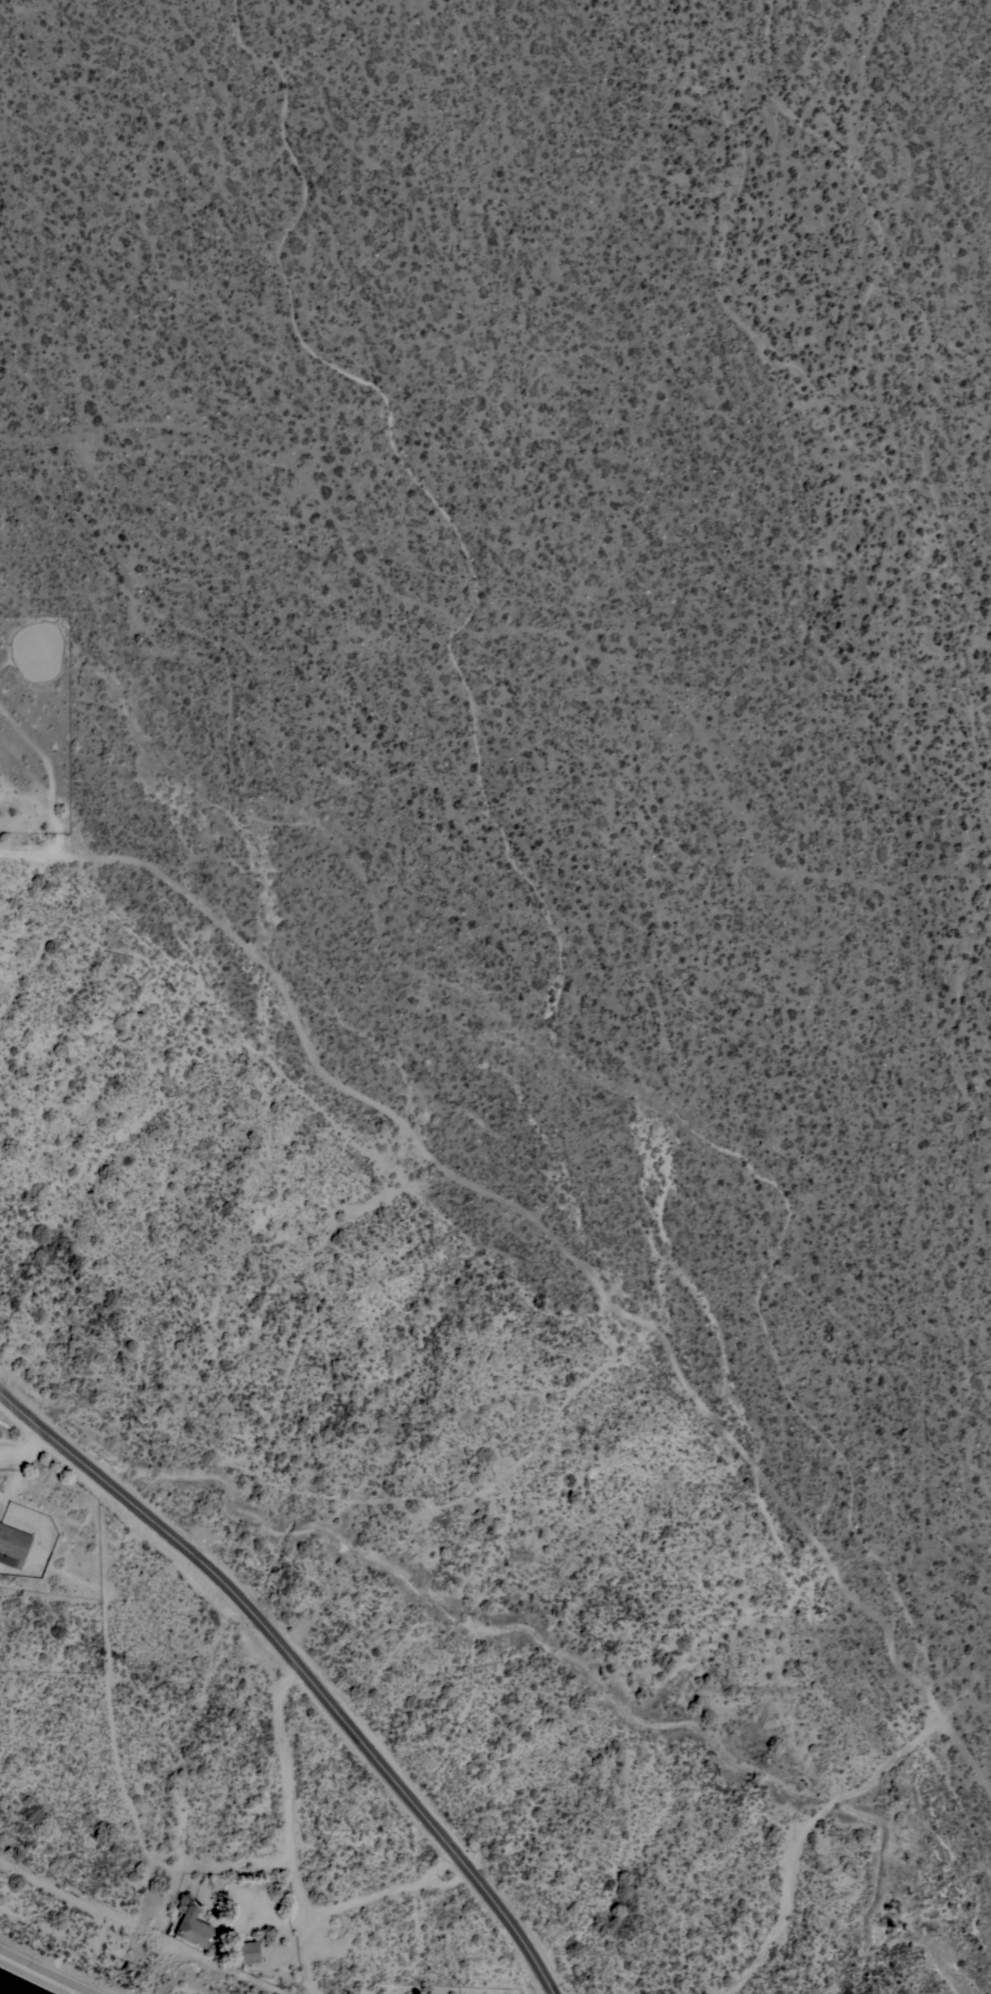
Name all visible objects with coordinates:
road: (61, 790)
road: (32, 1444)
building: (13, 1545)
road: (304, 1666)
road: (289, 1827)
road: (385, 1894)
building: (195, 1928)
building: (252, 1955)
building: (283, 1974)
road: (554, 1992)

